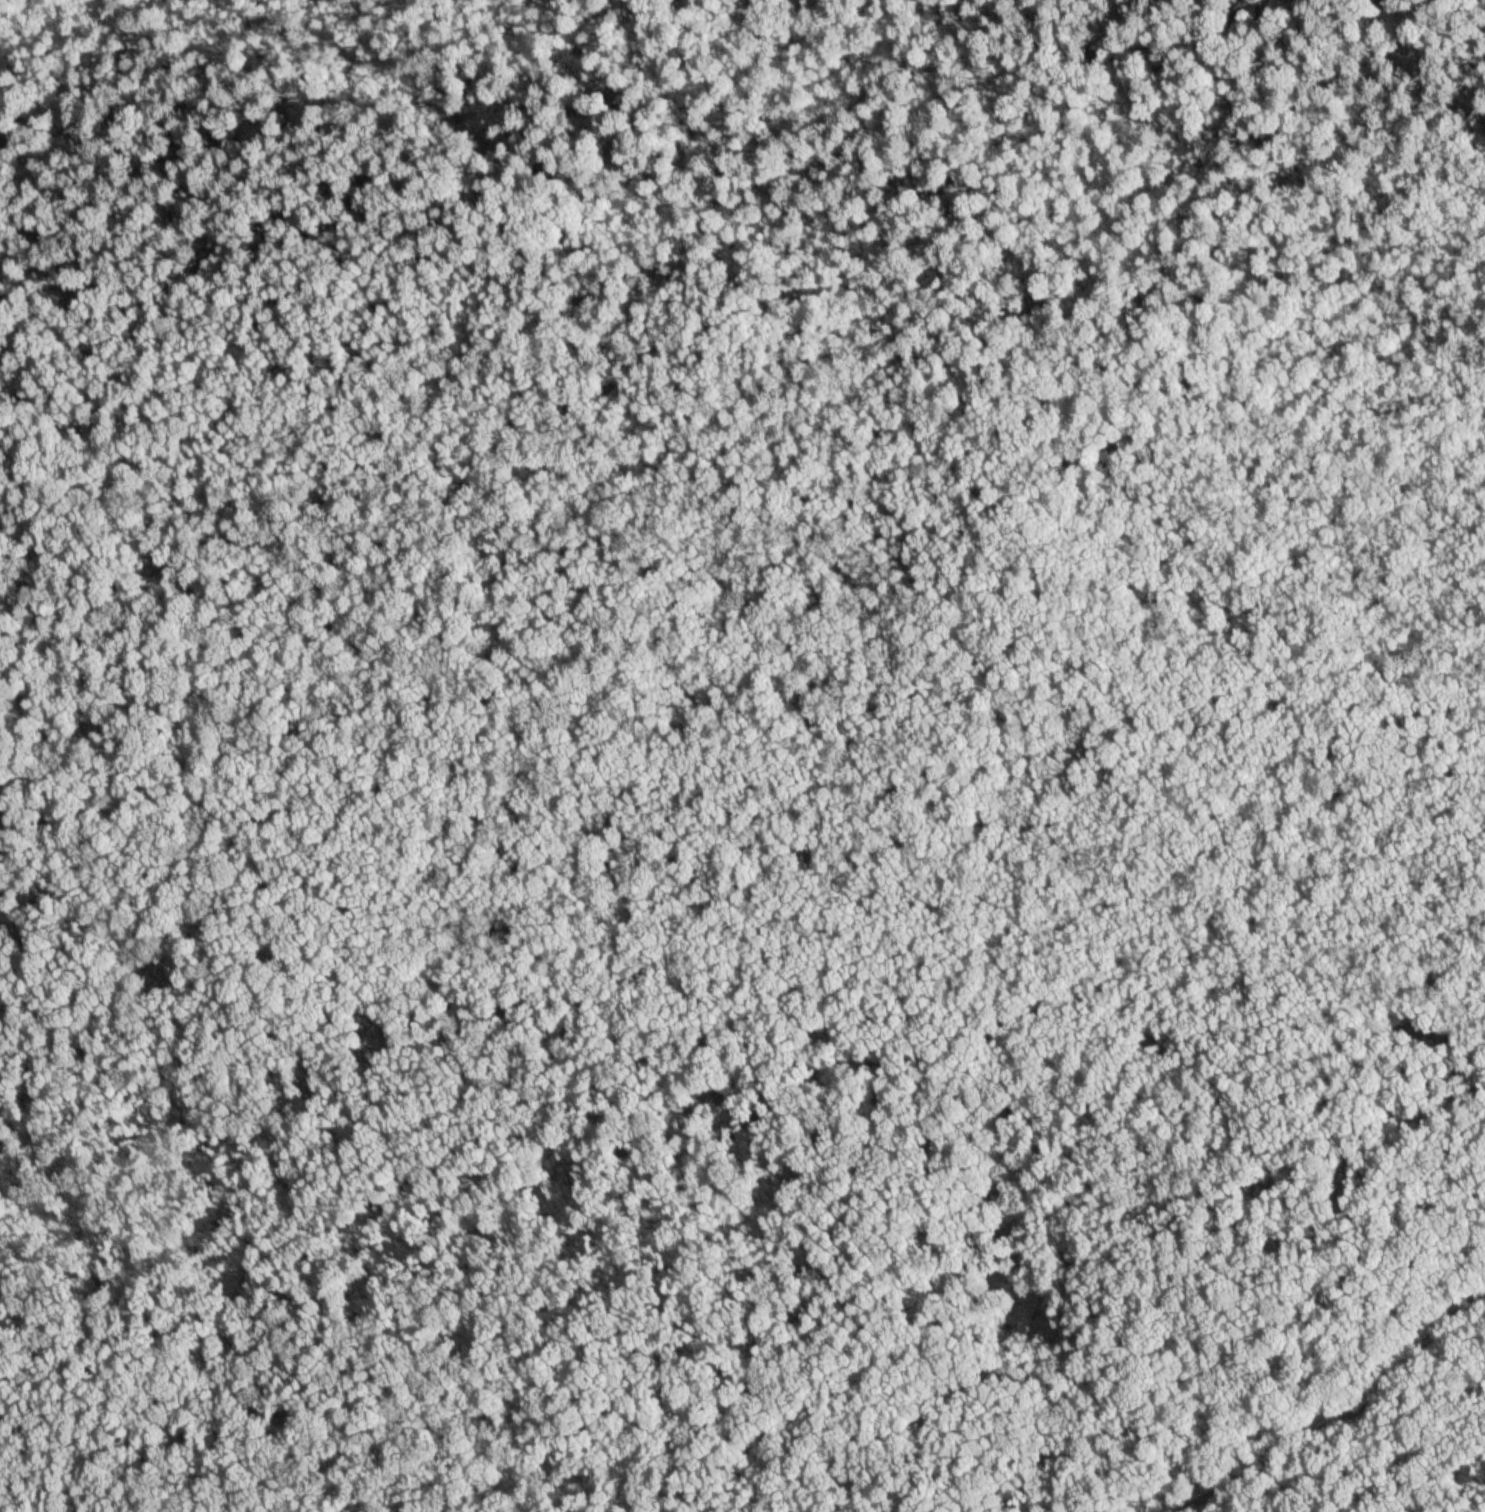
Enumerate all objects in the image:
road: (1268, 37)
road: (1373, 123)

